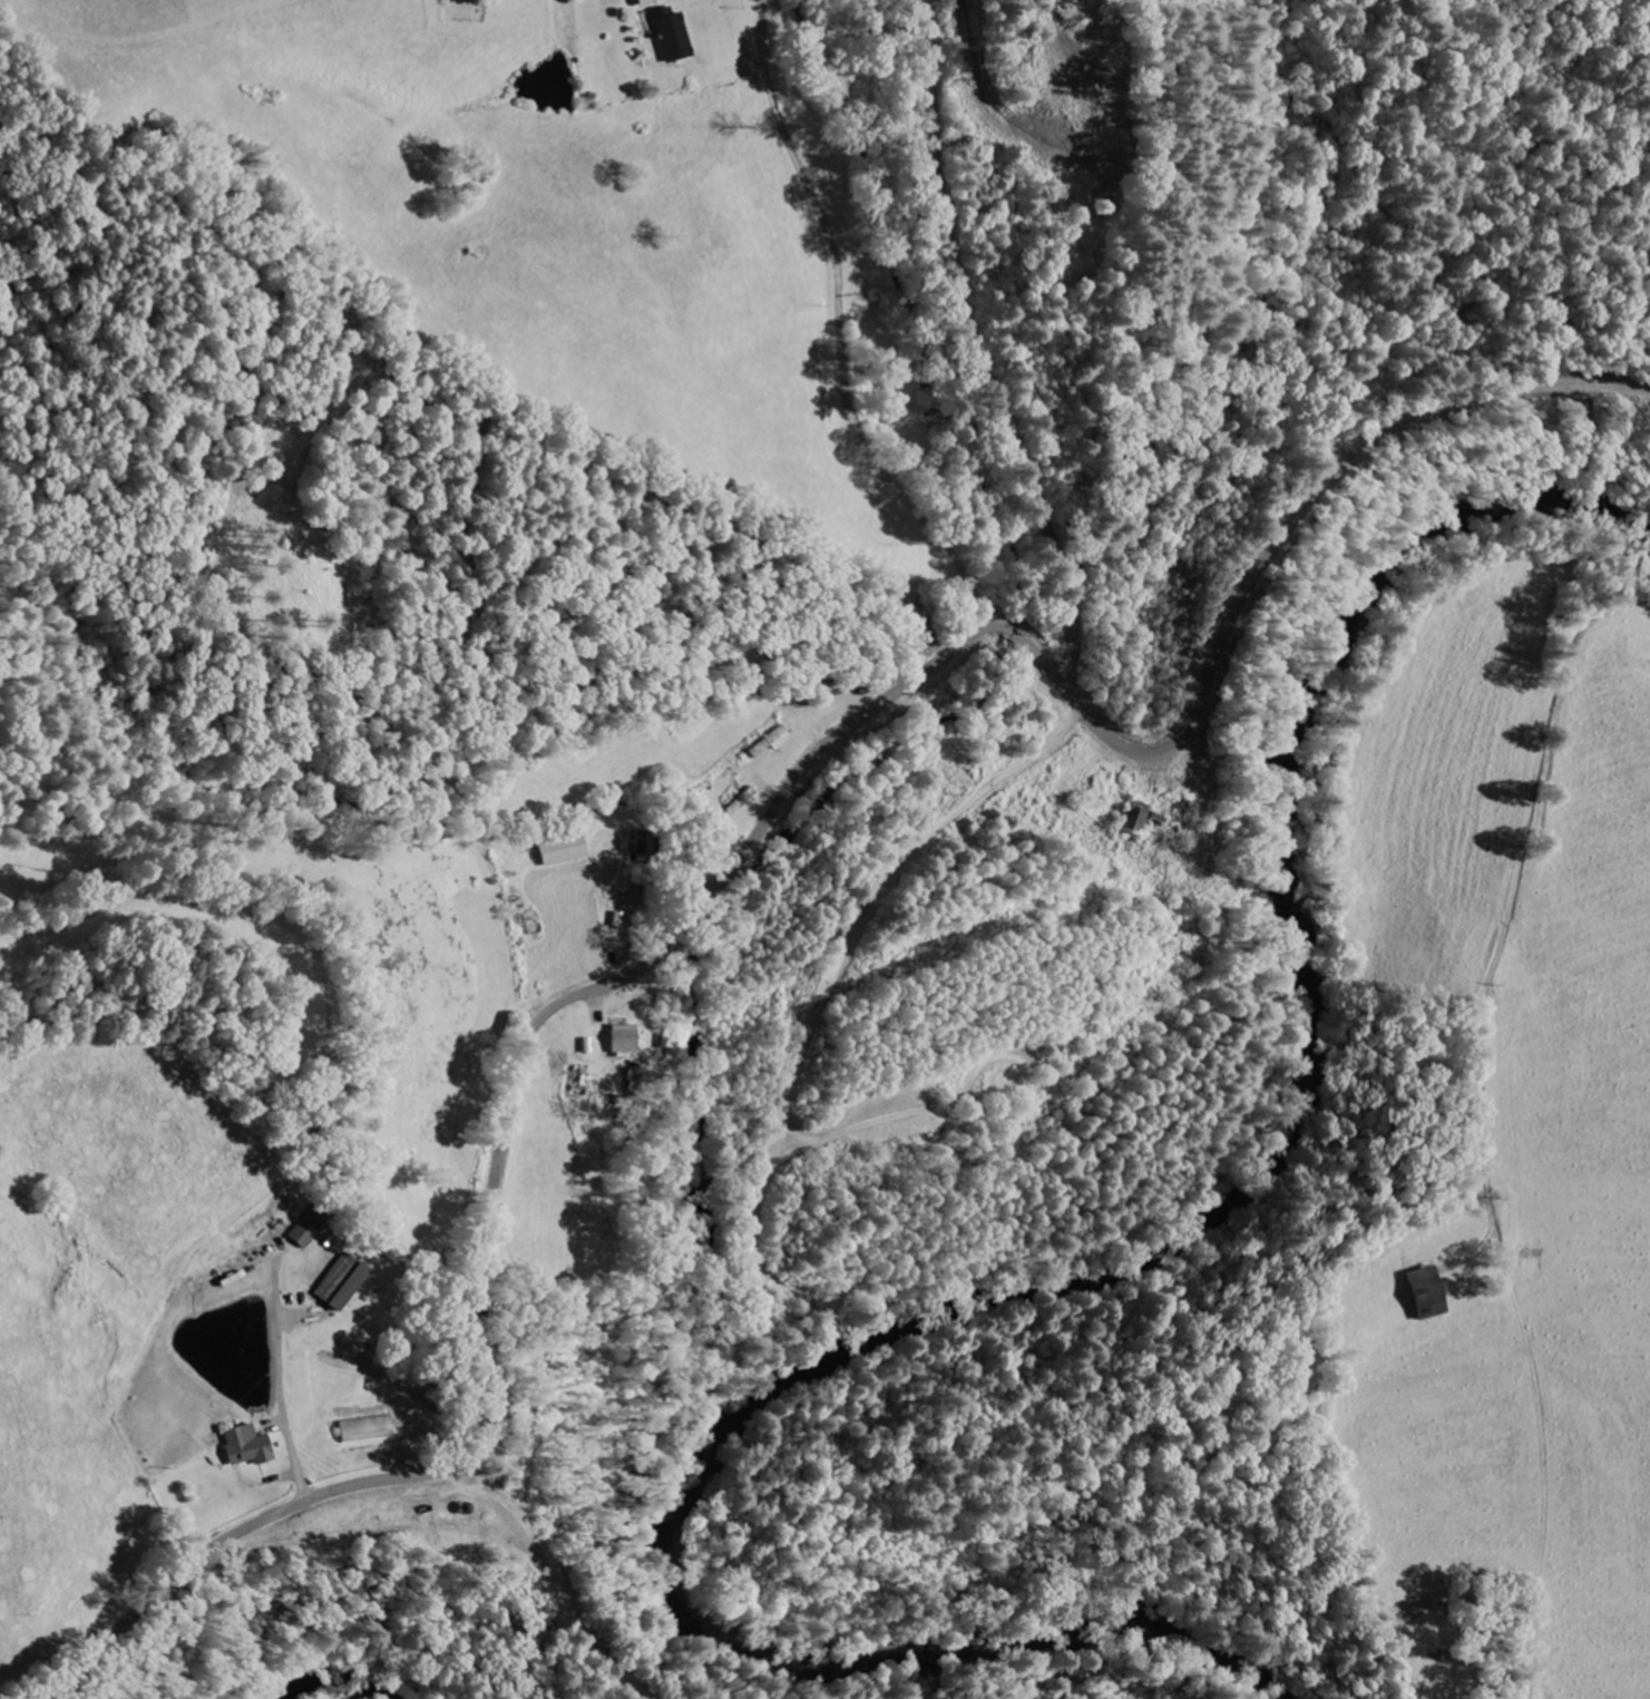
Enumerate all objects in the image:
building: (672, 36)
road: (977, 348)
building: (738, 804)
road: (742, 848)
building: (562, 852)
road: (830, 980)
building: (621, 1043)
road: (1025, 1067)
road: (868, 1121)
building: (309, 1231)
building: (341, 1283)
river: (1034, 1290)
building: (1425, 1295)
building: (365, 1431)
building: (245, 1447)
river: (348, 1686)

